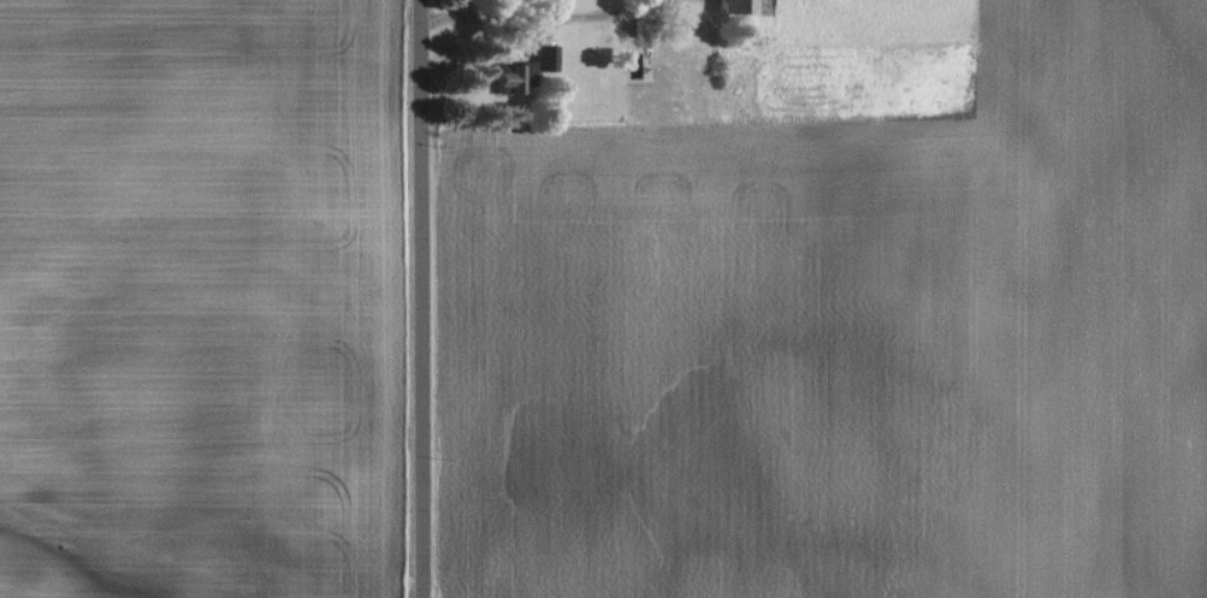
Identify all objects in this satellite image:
building: (740, 5)
road: (544, 18)
building: (542, 55)
road: (414, 298)

